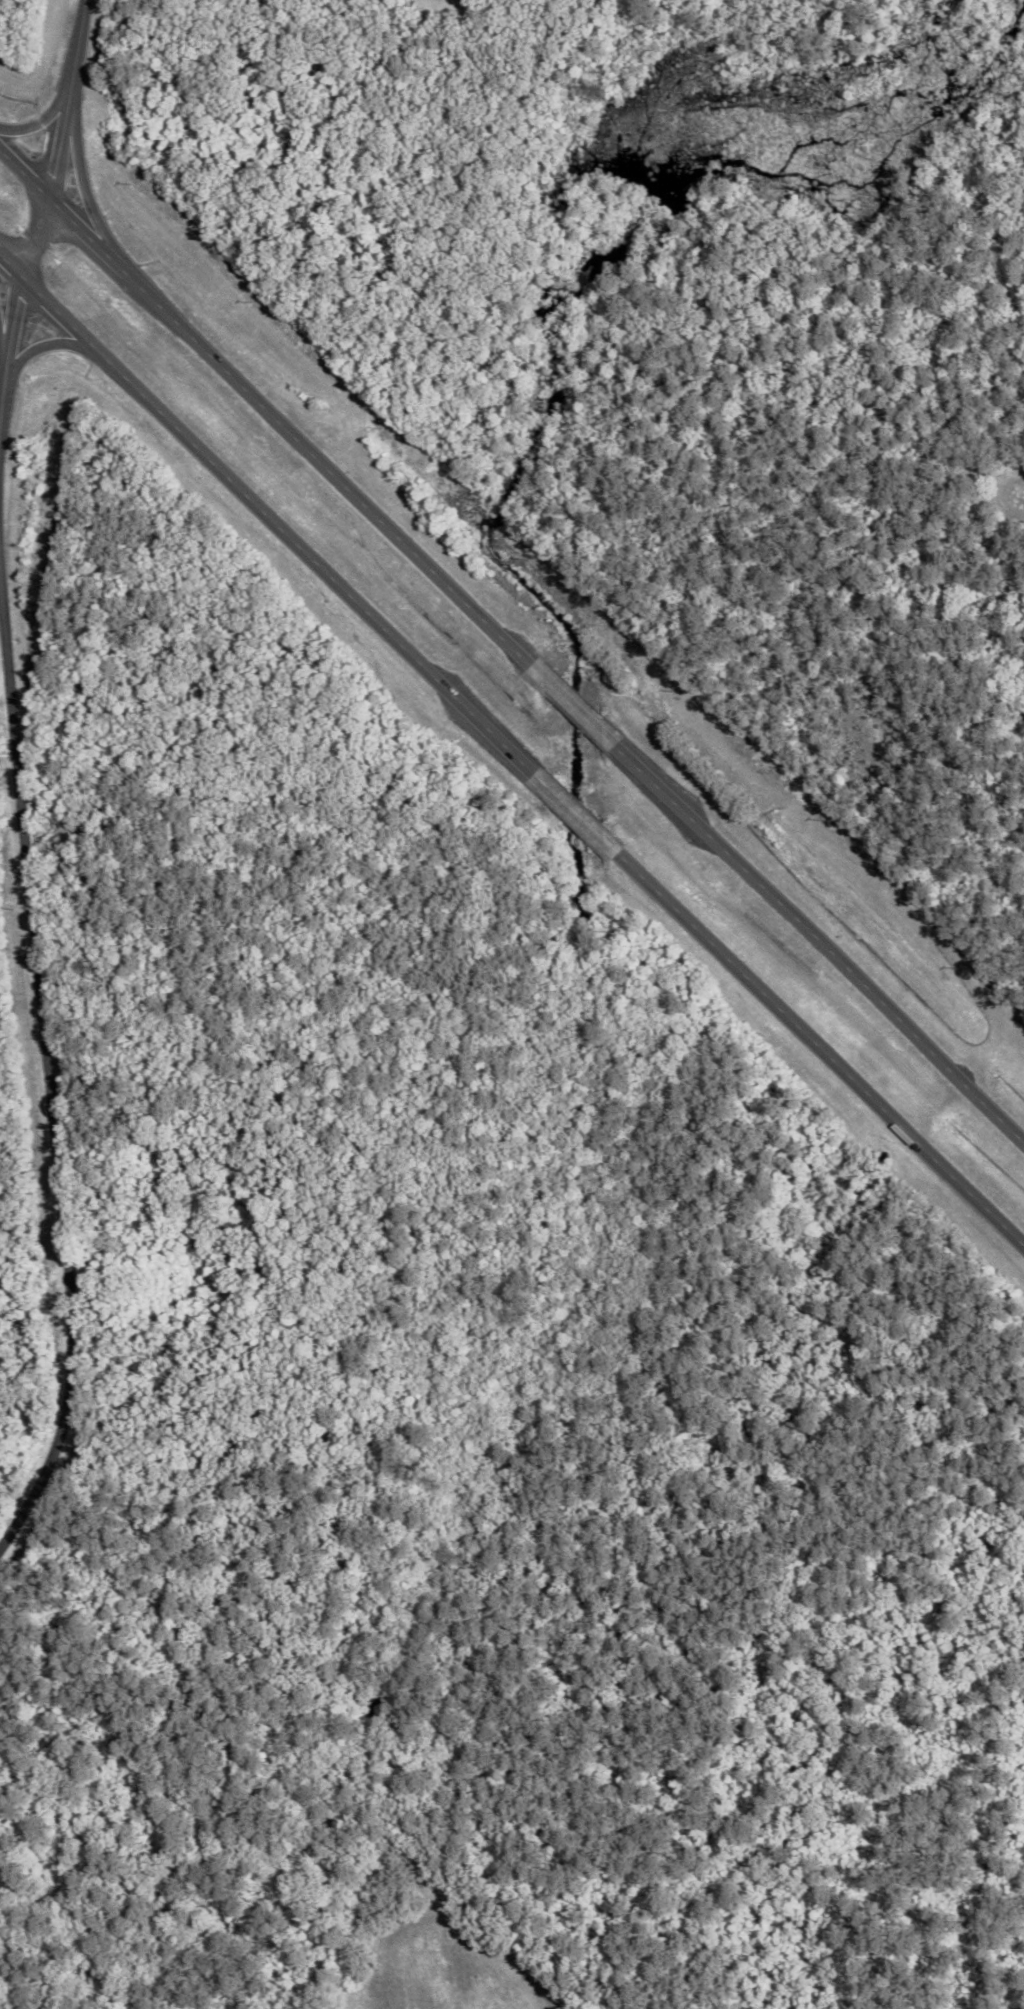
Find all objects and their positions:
road: (37, 125)
road: (24, 176)
road: (81, 188)
road: (49, 201)
road: (79, 231)
road: (10, 267)
road: (129, 279)
road: (41, 344)
road: (2, 347)
road: (340, 482)
road: (278, 525)
road: (573, 706)
road: (578, 813)
road: (819, 944)
road: (821, 1049)
road: (47, 1077)

